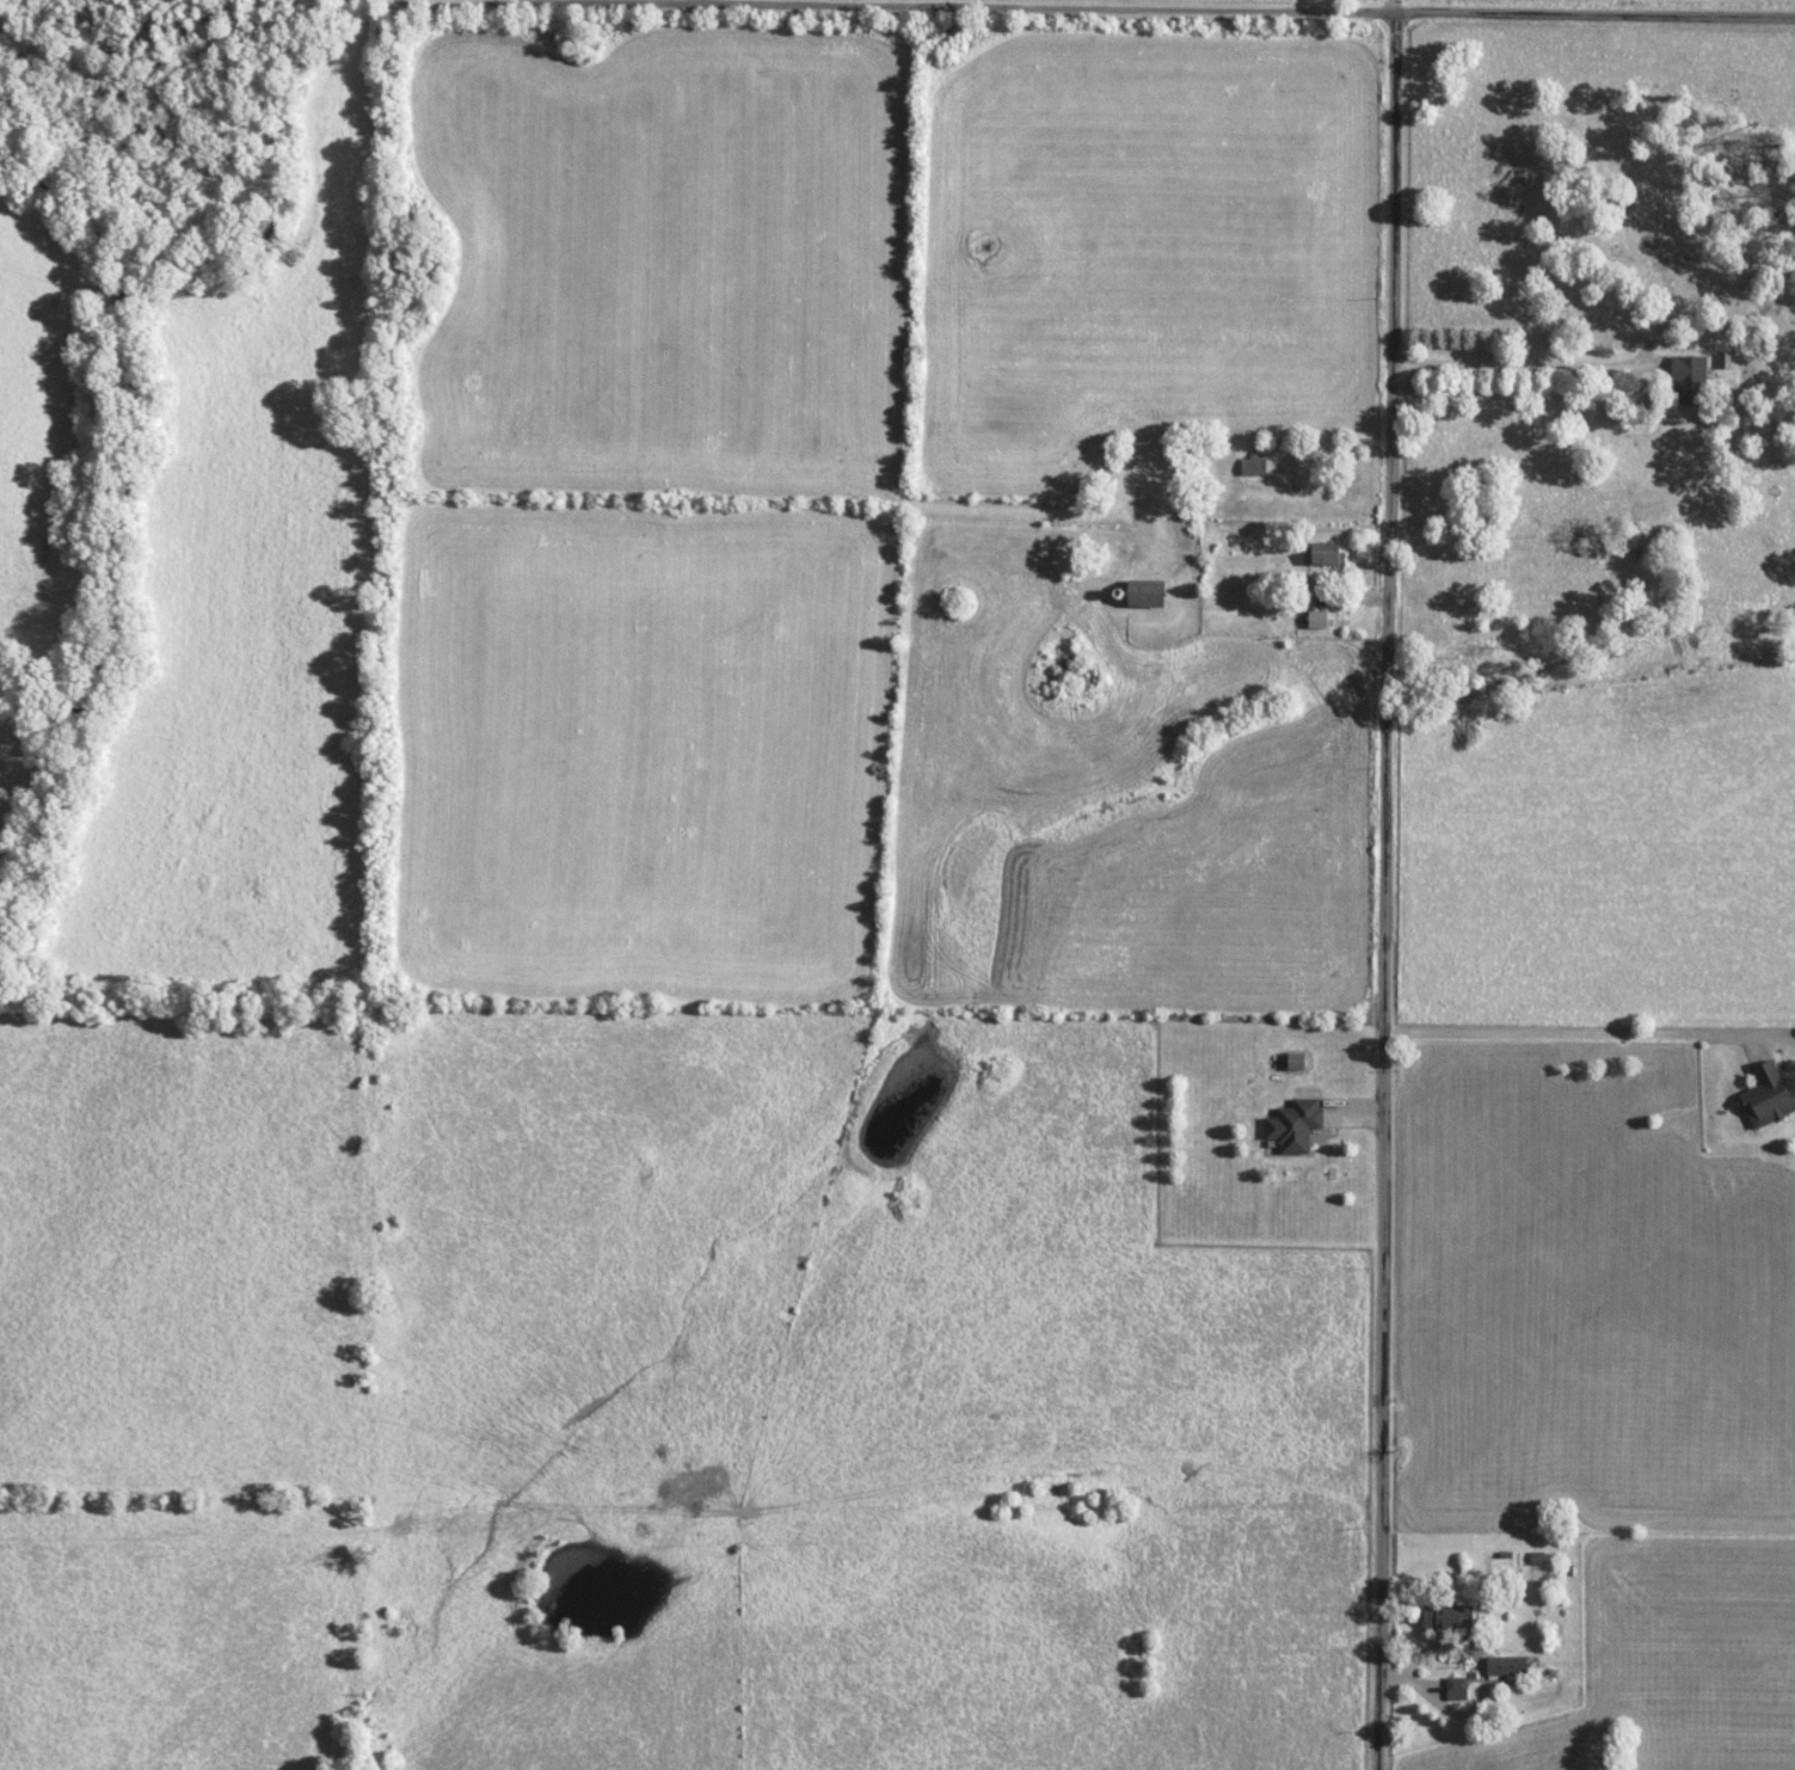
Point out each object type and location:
road: (439, 0)
road: (1393, 6)
road: (1221, 8)
road: (1533, 369)
building: (1686, 379)
building: (1250, 466)
building: (1321, 554)
building: (1143, 594)
building: (1315, 619)
road: (1391, 891)
road: (1575, 1037)
building: (1766, 1098)
building: (1293, 1125)
building: (1445, 1617)
building: (1505, 1665)
building: (1455, 1689)

